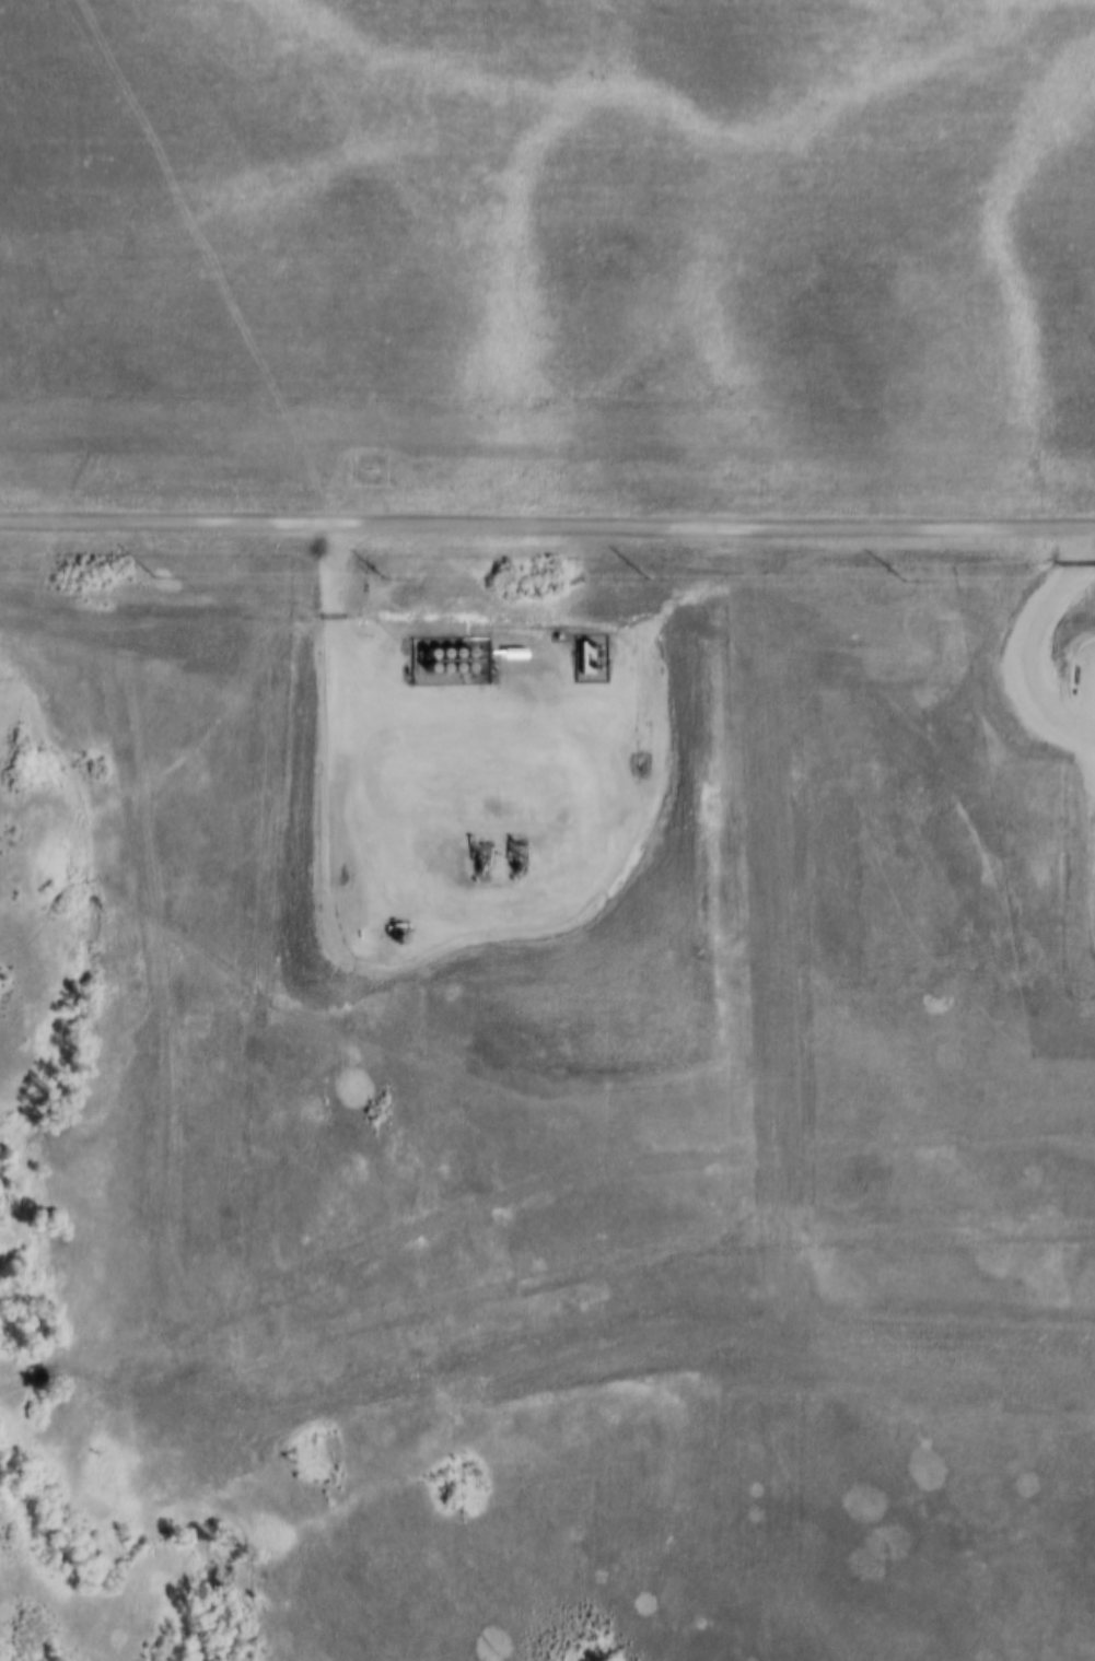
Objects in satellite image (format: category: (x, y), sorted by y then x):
road: (547, 526)
road: (1036, 627)
building: (555, 634)
building: (509, 651)
building: (582, 656)
road: (1075, 718)
road: (1075, 742)
petroleum well: (475, 859)
petroleum well: (512, 859)
road: (487, 897)

